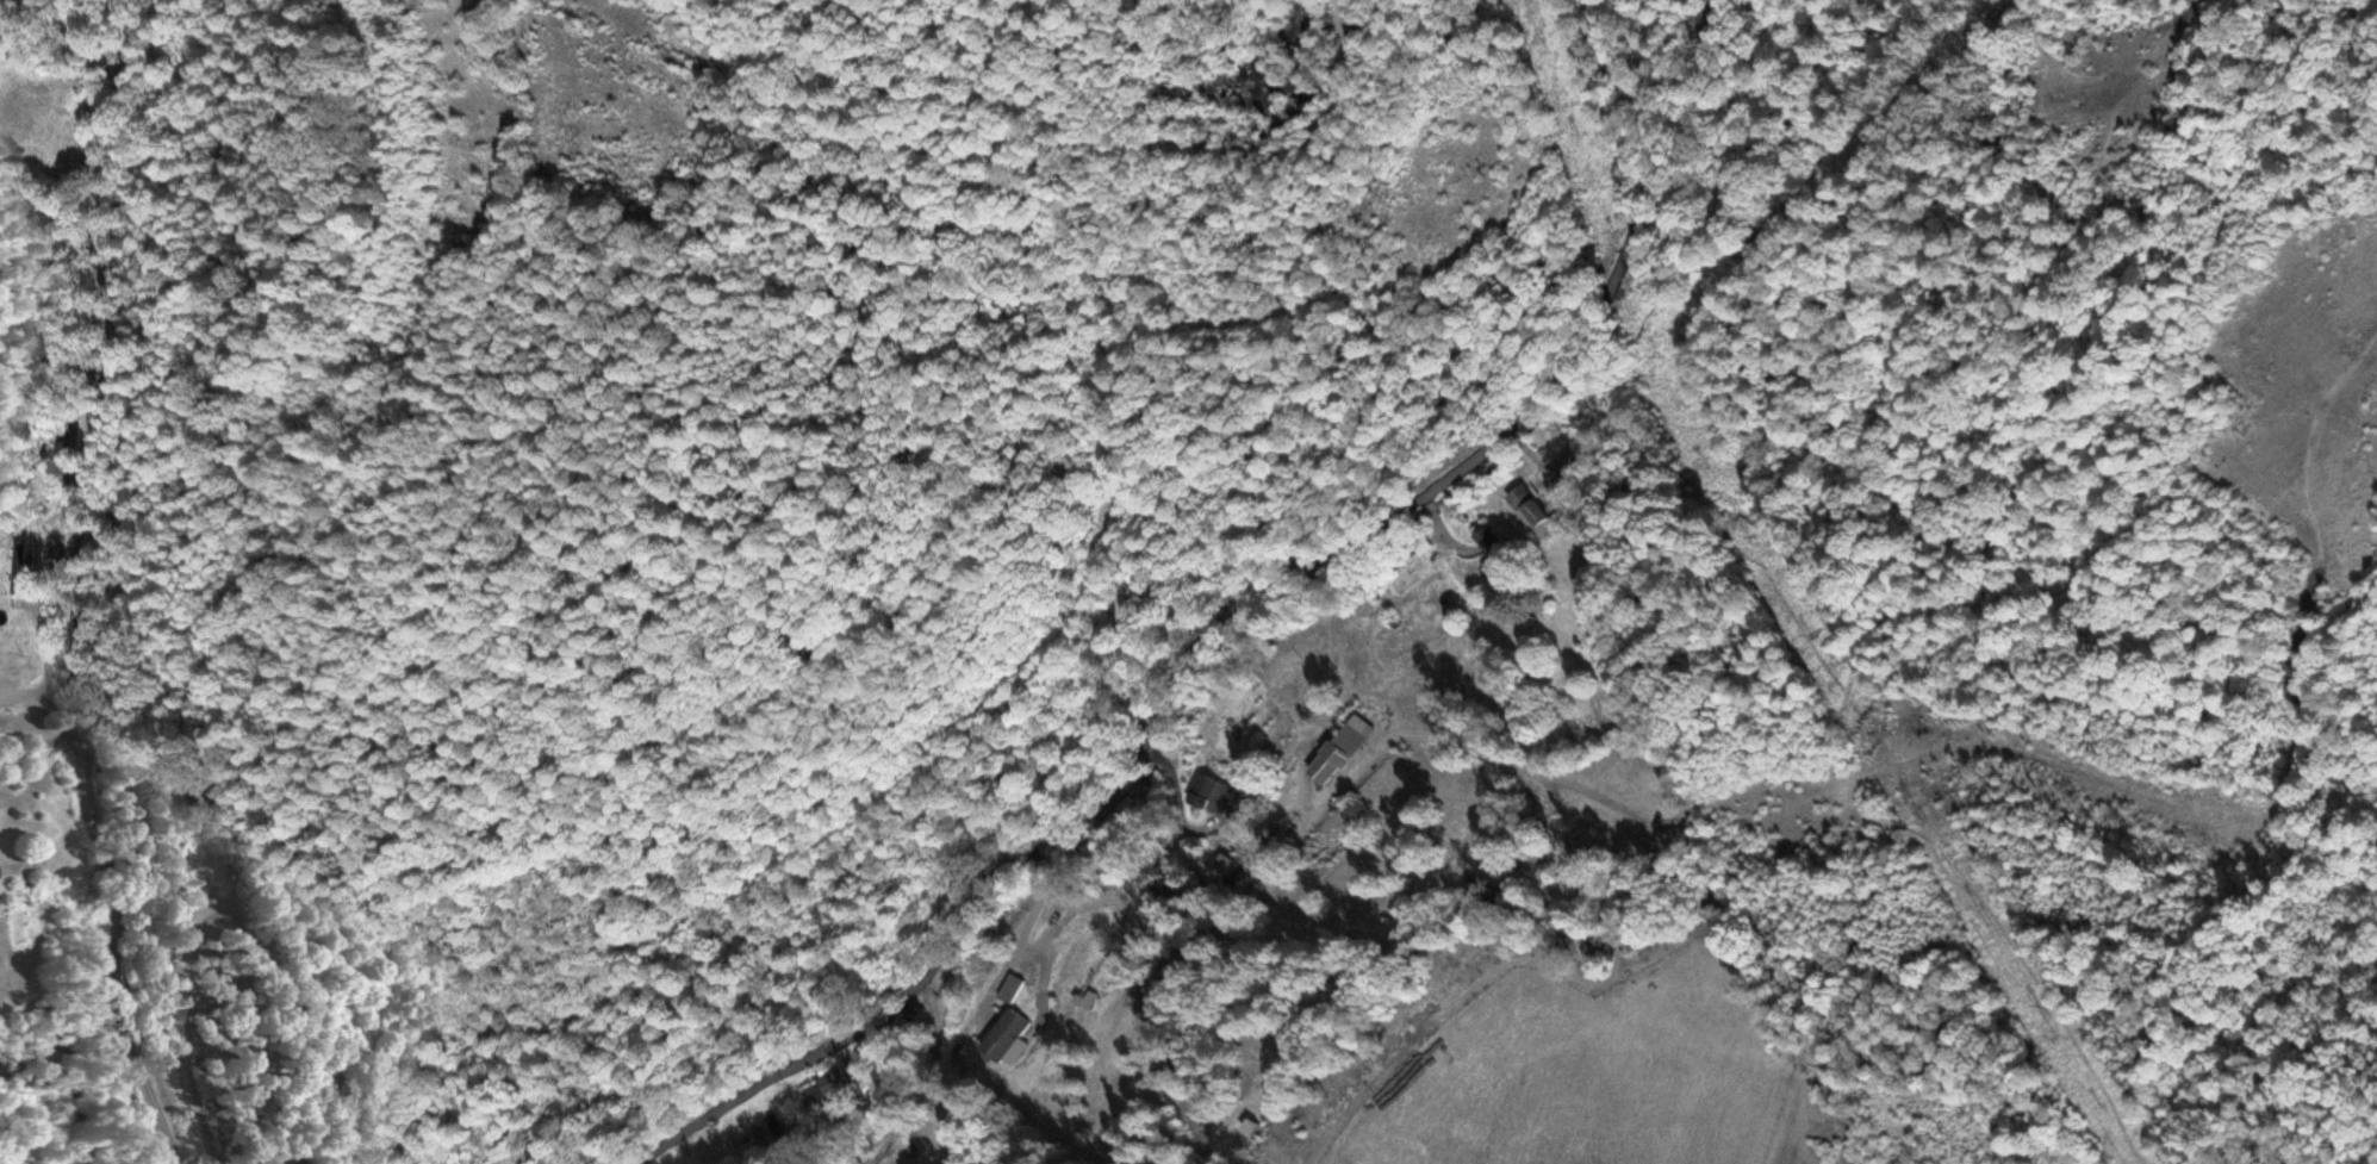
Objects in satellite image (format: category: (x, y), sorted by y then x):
building: (1527, 506)
building: (1489, 540)
building: (17, 566)
road: (82, 589)
road: (1262, 636)
building: (5, 671)
building: (1348, 737)
building: (1212, 793)
road: (1211, 866)
building: (1010, 988)
building: (1004, 1034)
road: (889, 1076)

